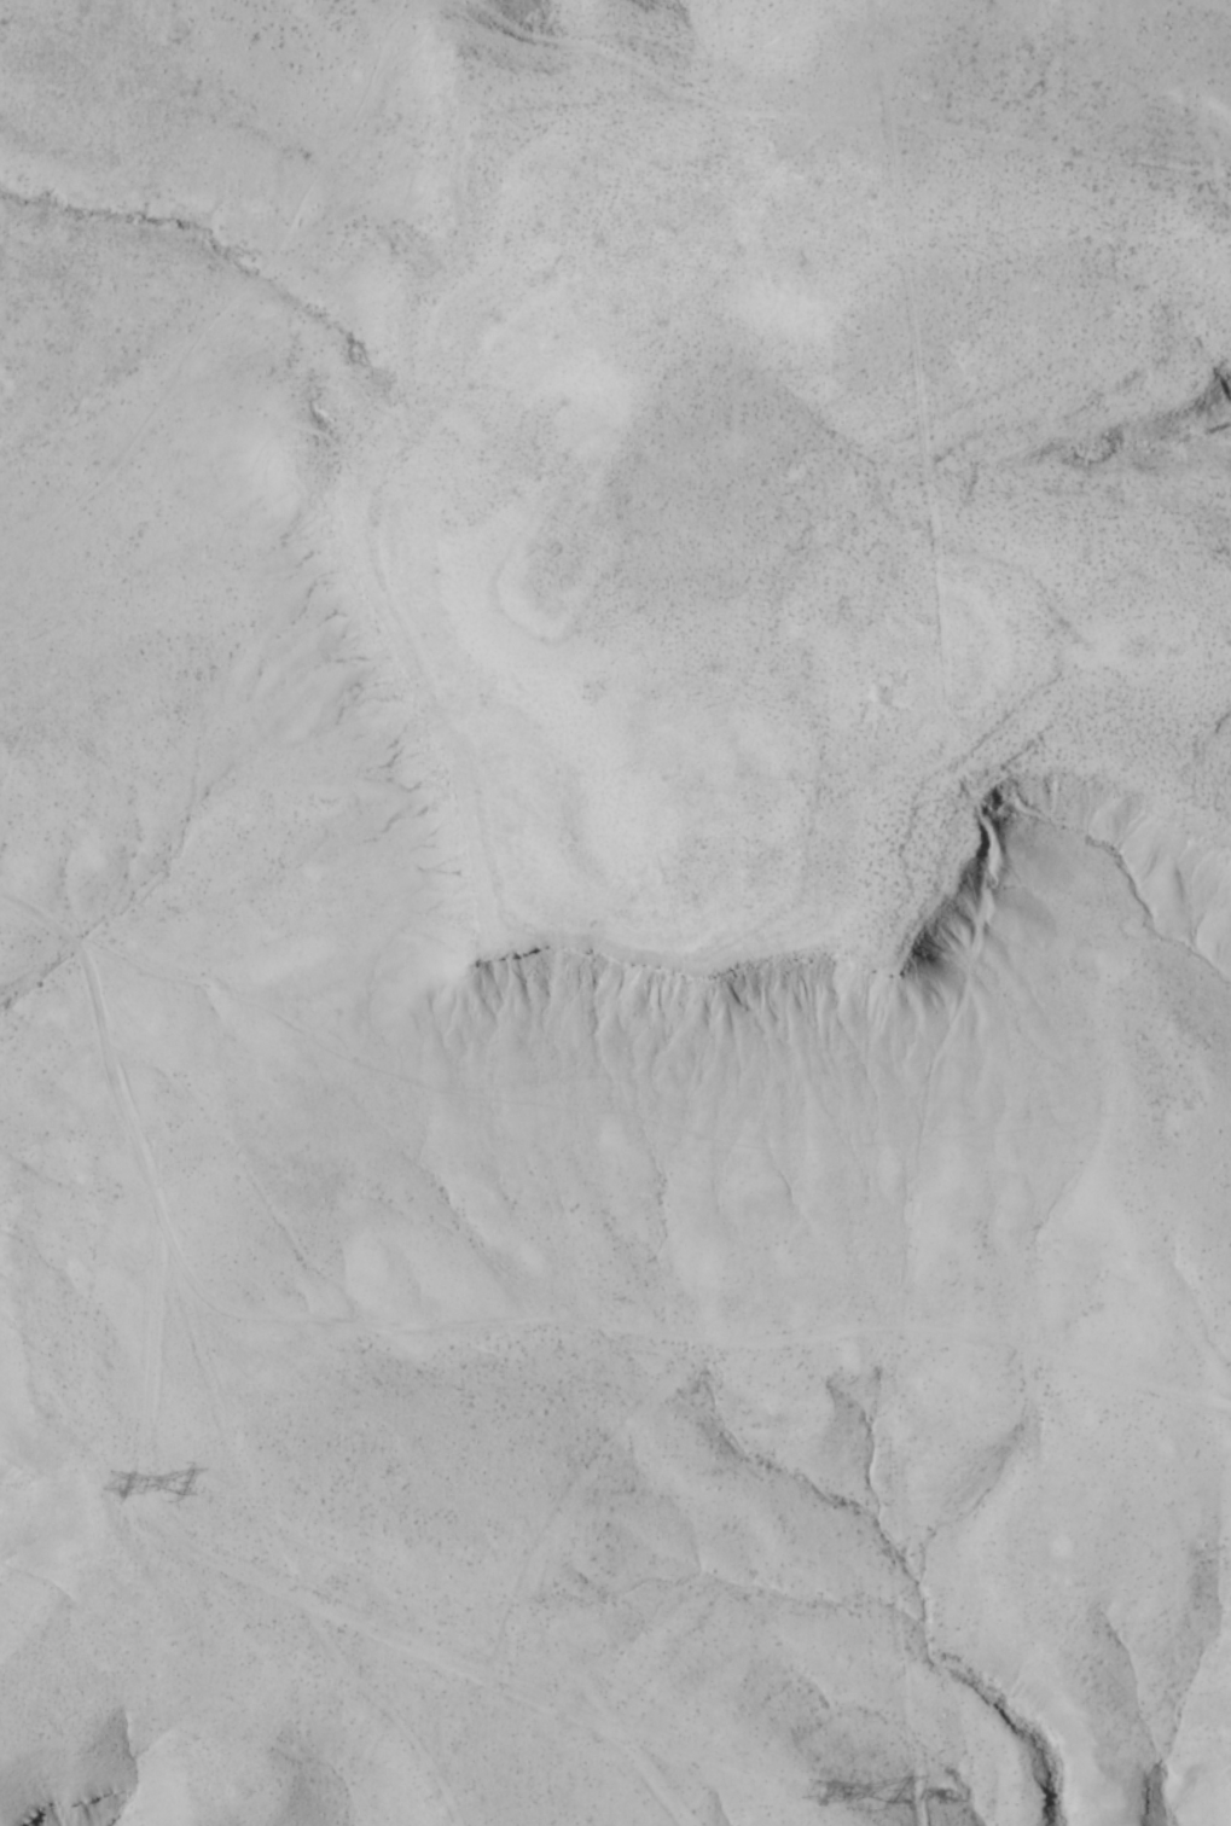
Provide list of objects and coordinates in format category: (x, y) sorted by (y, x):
power tower: (120, 1471)
power tower: (811, 1775)

